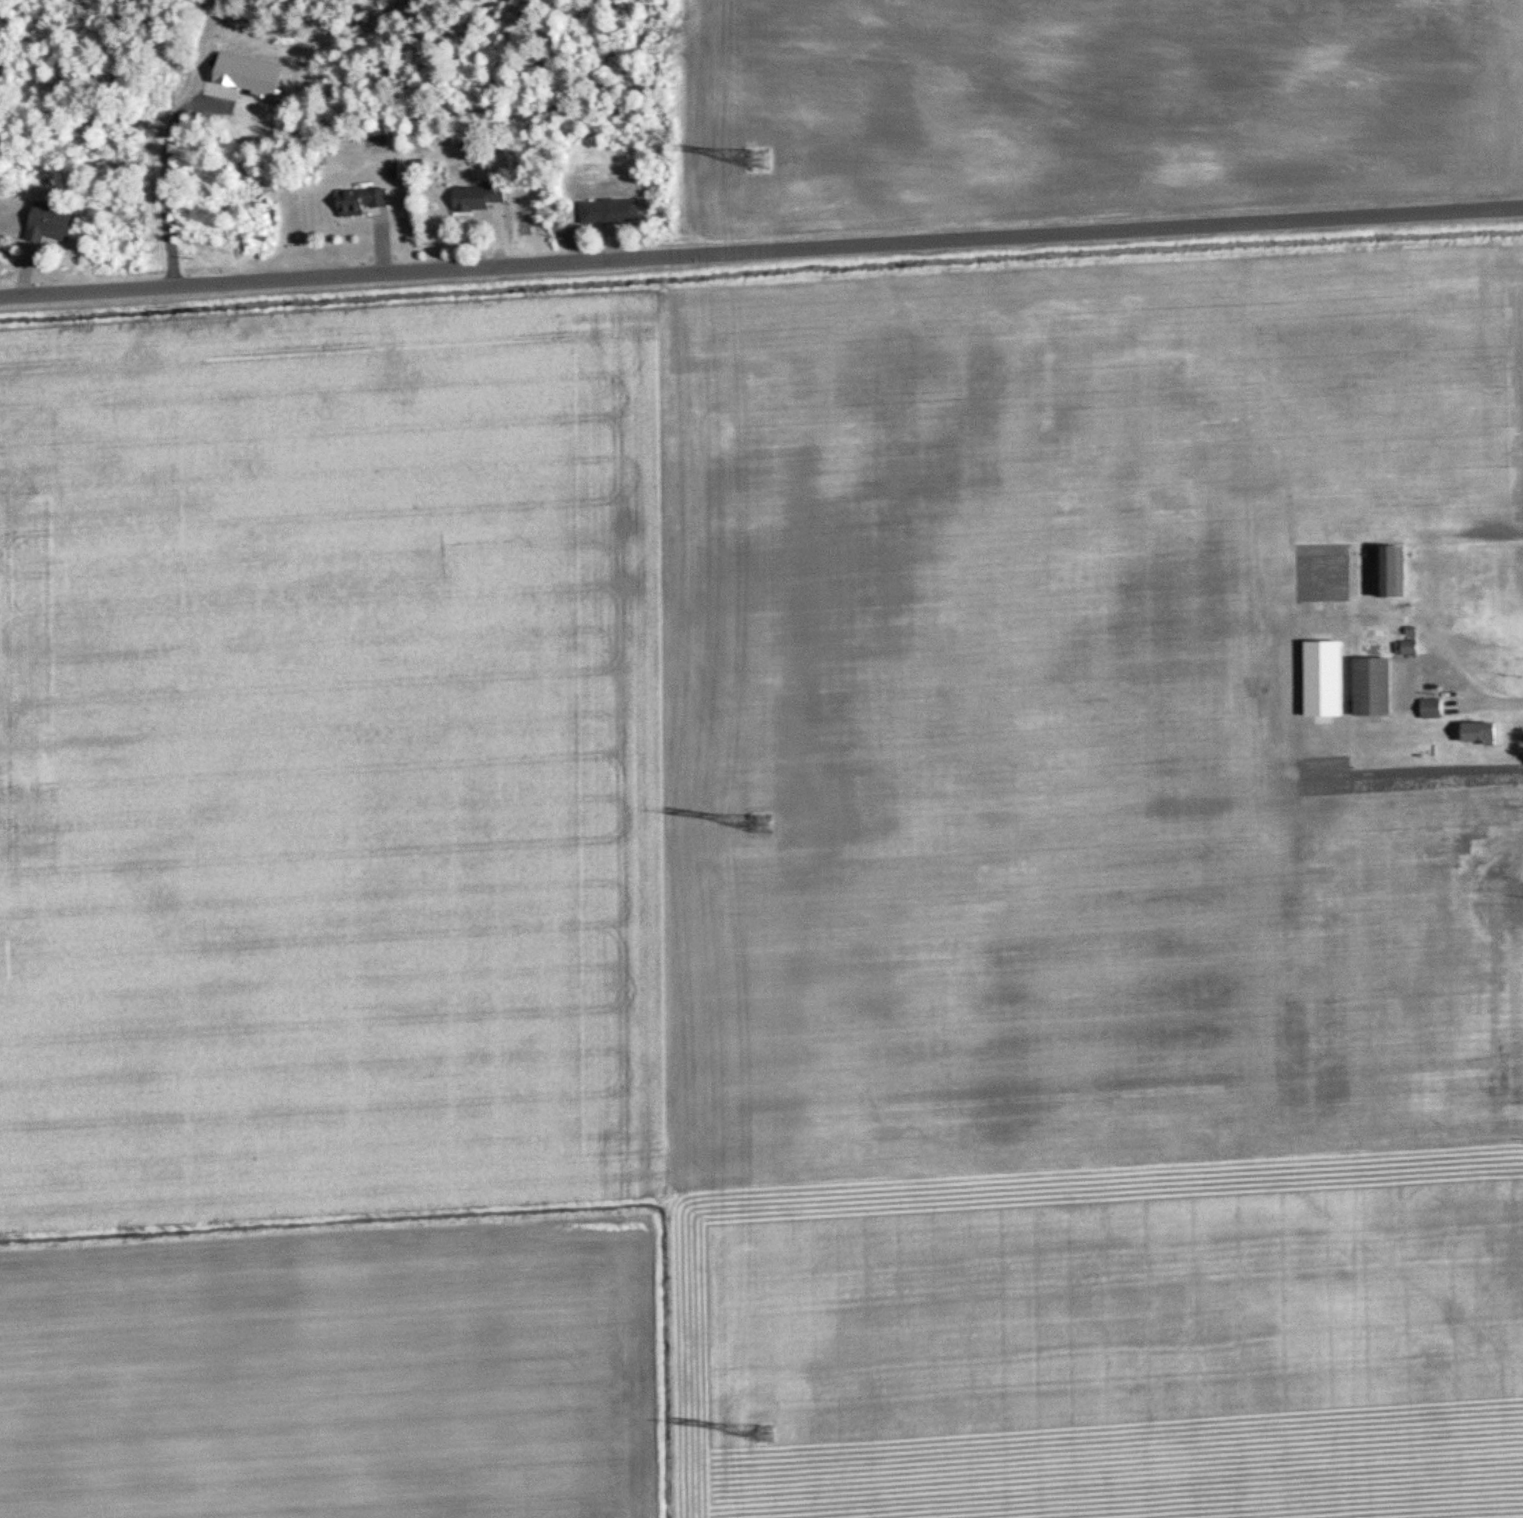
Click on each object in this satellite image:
power tower: (758, 157)
building: (482, 196)
building: (364, 199)
building: (614, 210)
building: (55, 222)
road: (761, 254)
building: (1382, 570)
building: (1404, 647)
road: (1459, 681)
building: (1365, 686)
building: (1428, 707)
building: (1472, 732)
power tower: (762, 823)
power tower: (769, 1433)

